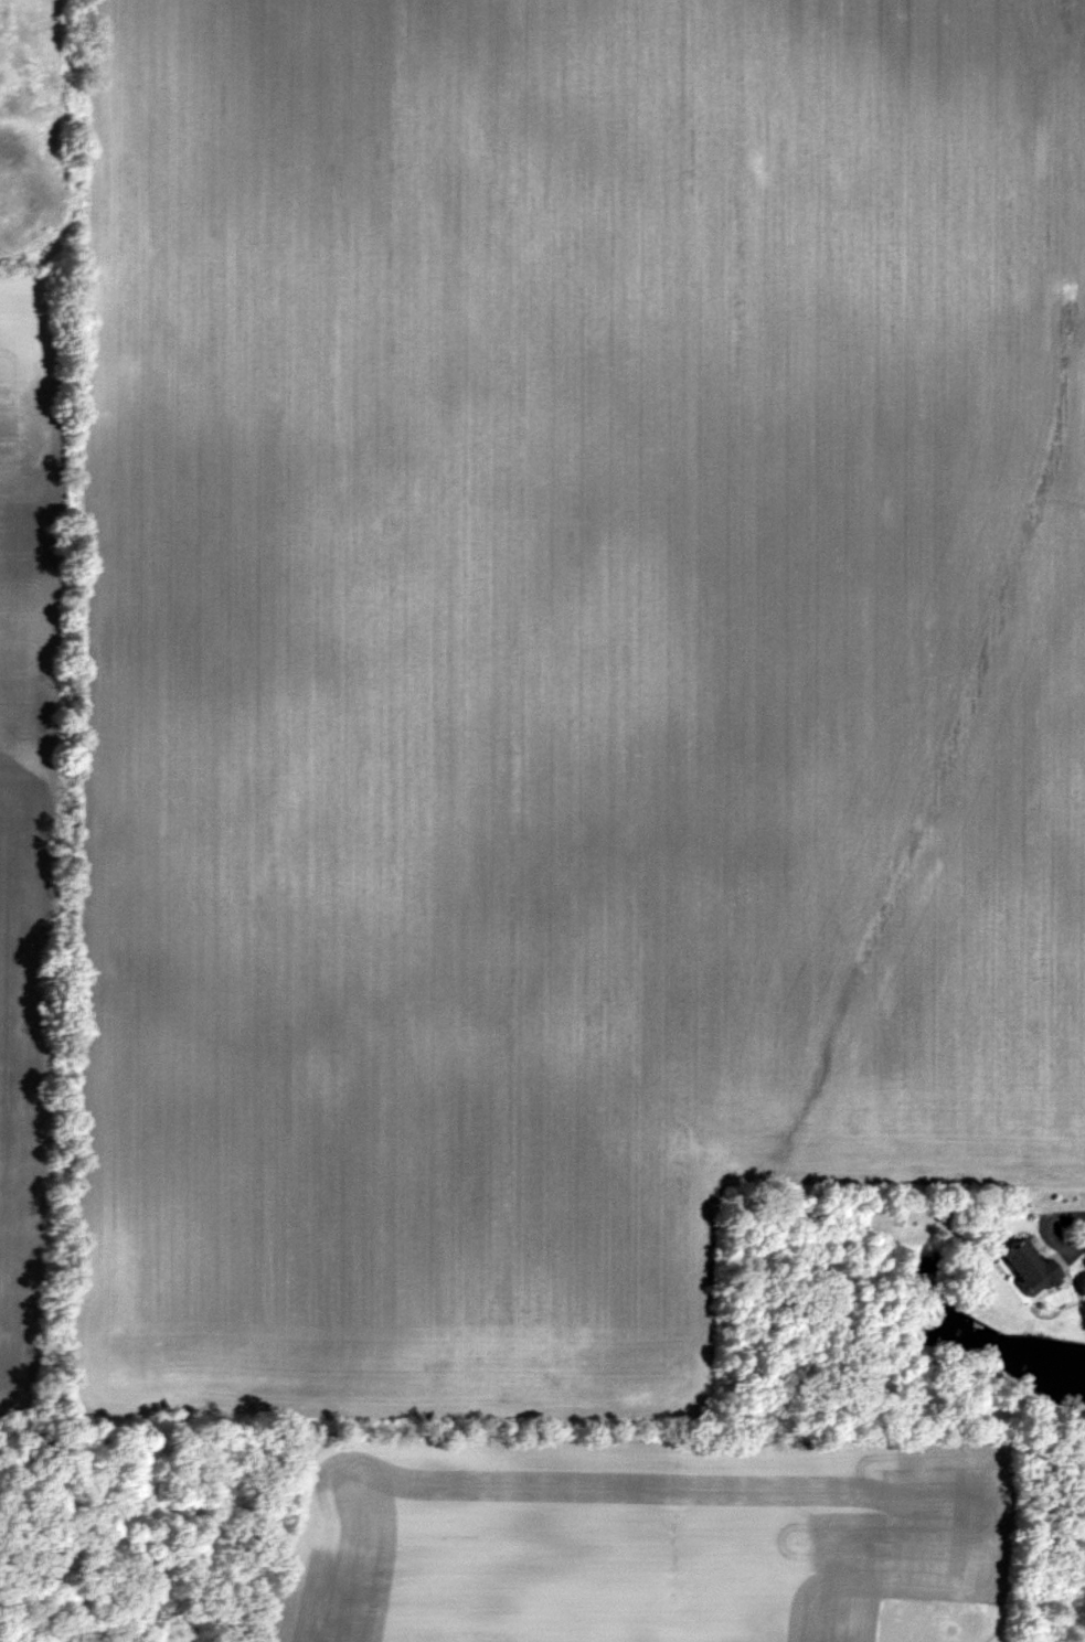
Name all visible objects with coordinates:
road: (1050, 1227)
building: (1023, 1268)

